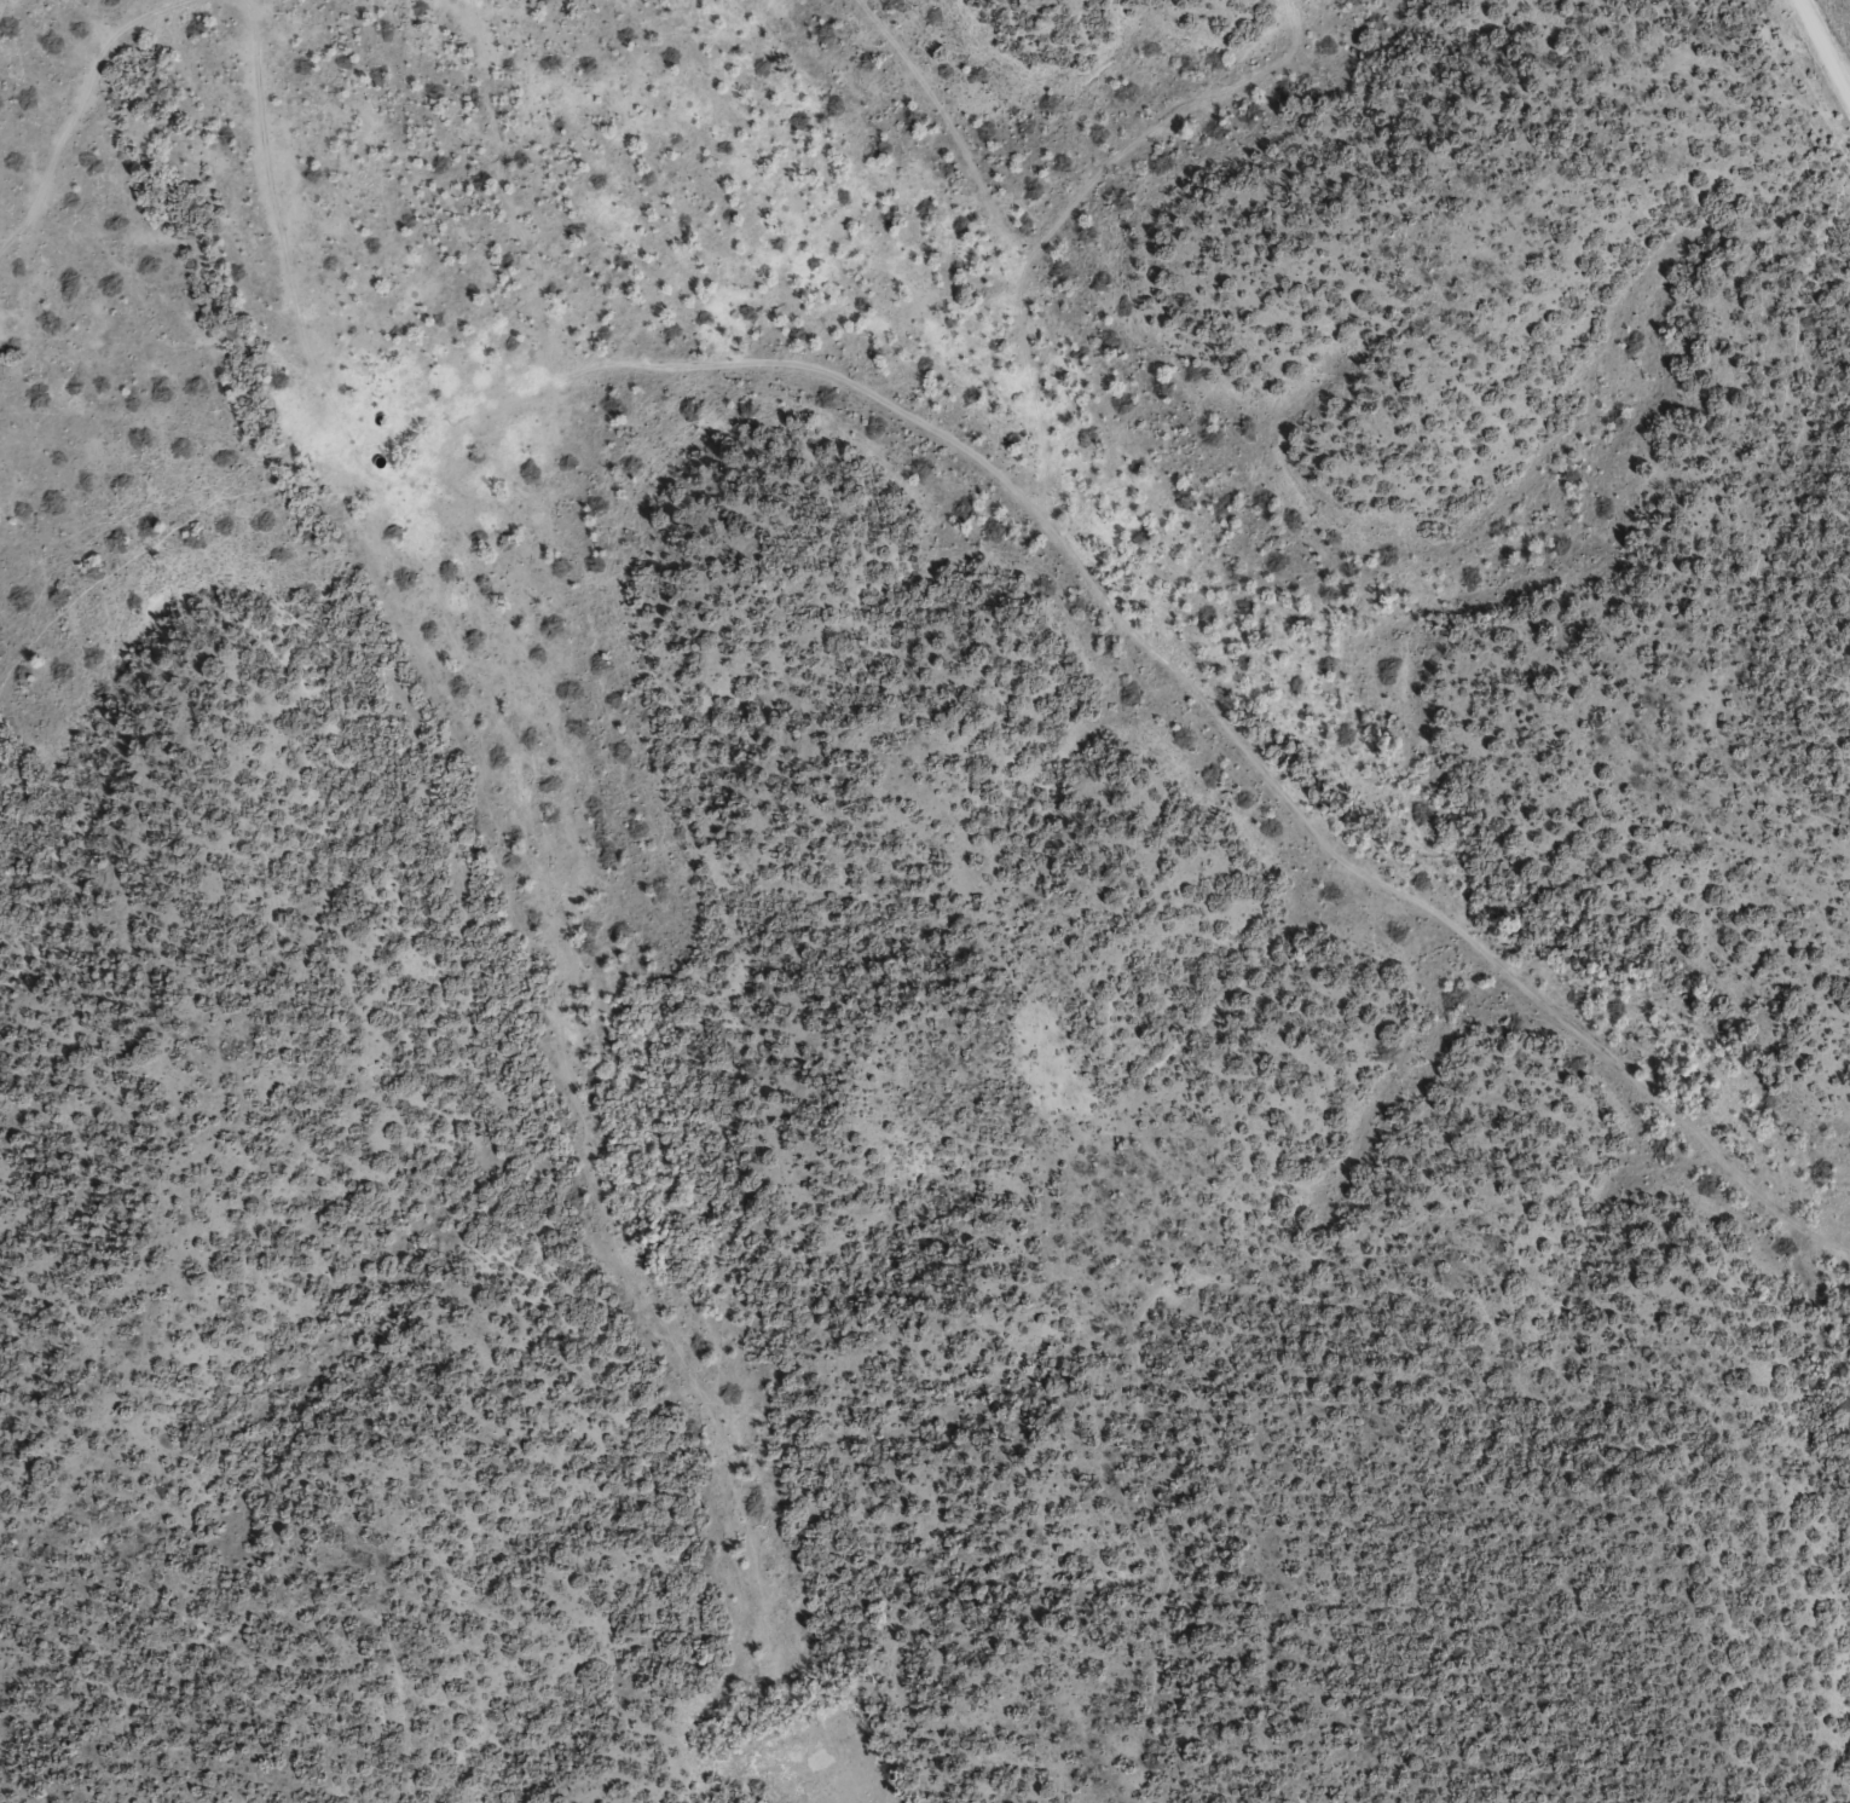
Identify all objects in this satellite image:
road: (1023, 545)

